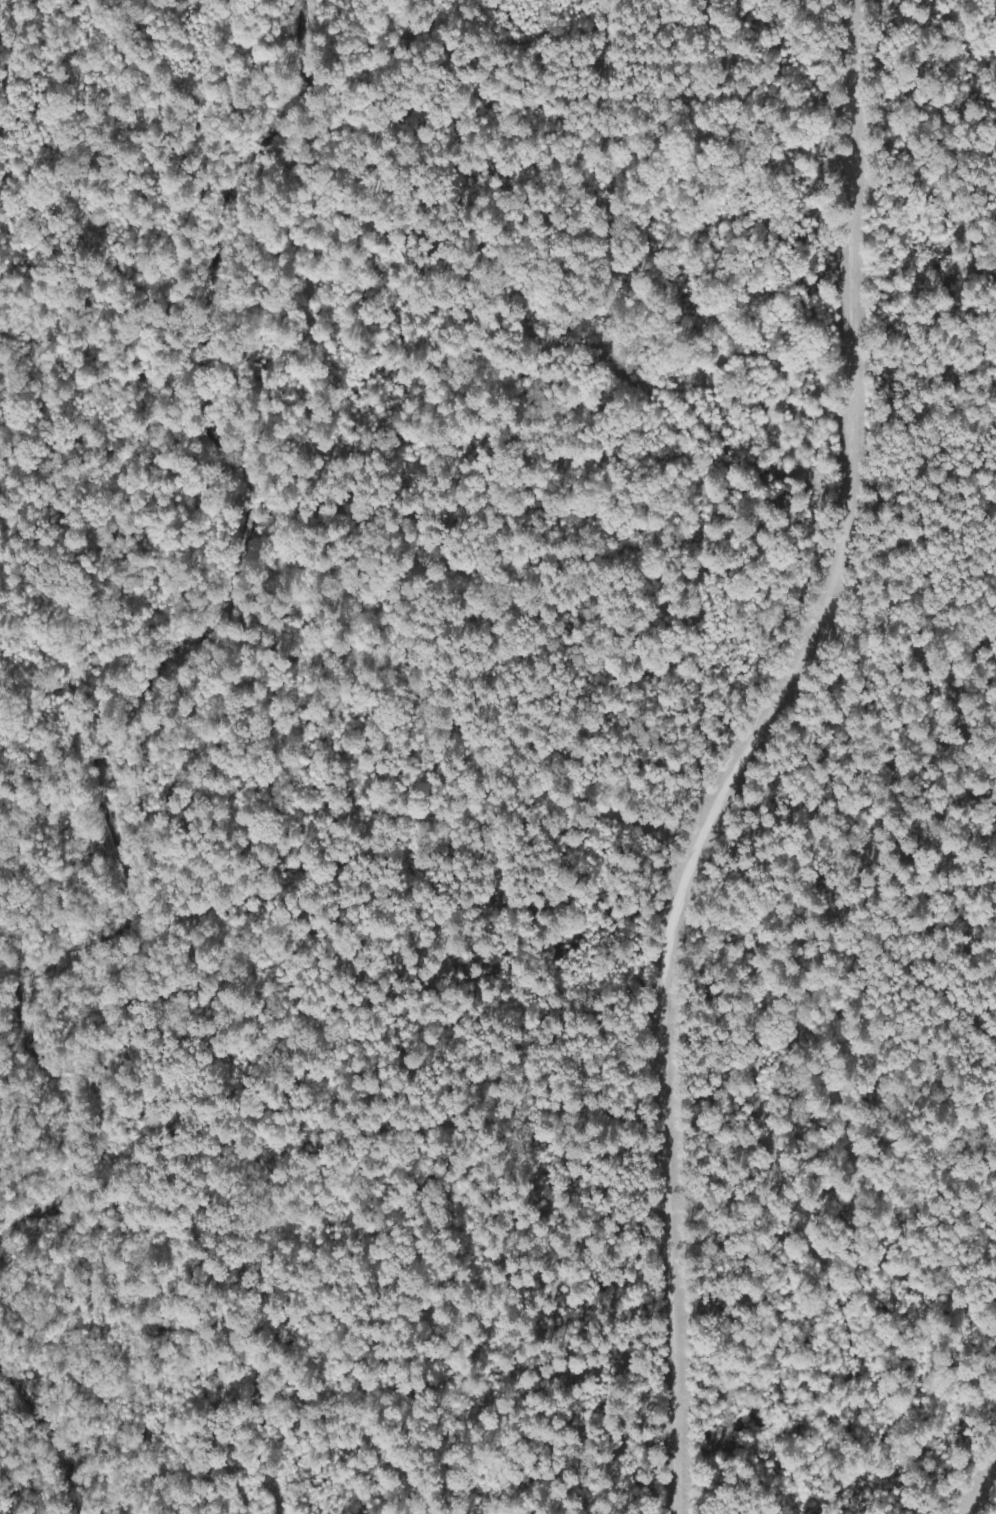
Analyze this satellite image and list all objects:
road: (714, 743)
road: (969, 1476)

